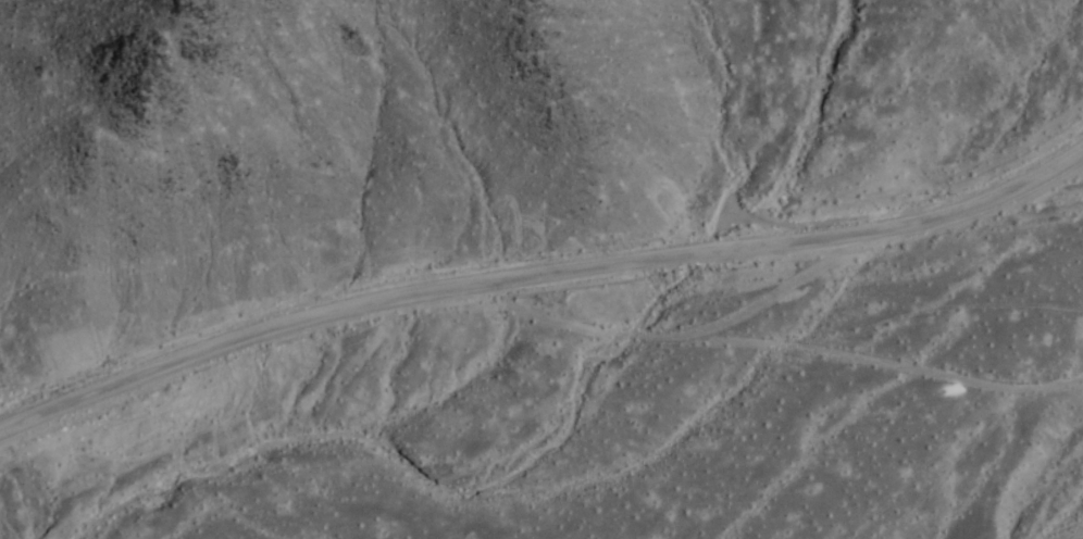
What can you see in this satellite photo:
road: (537, 277)

